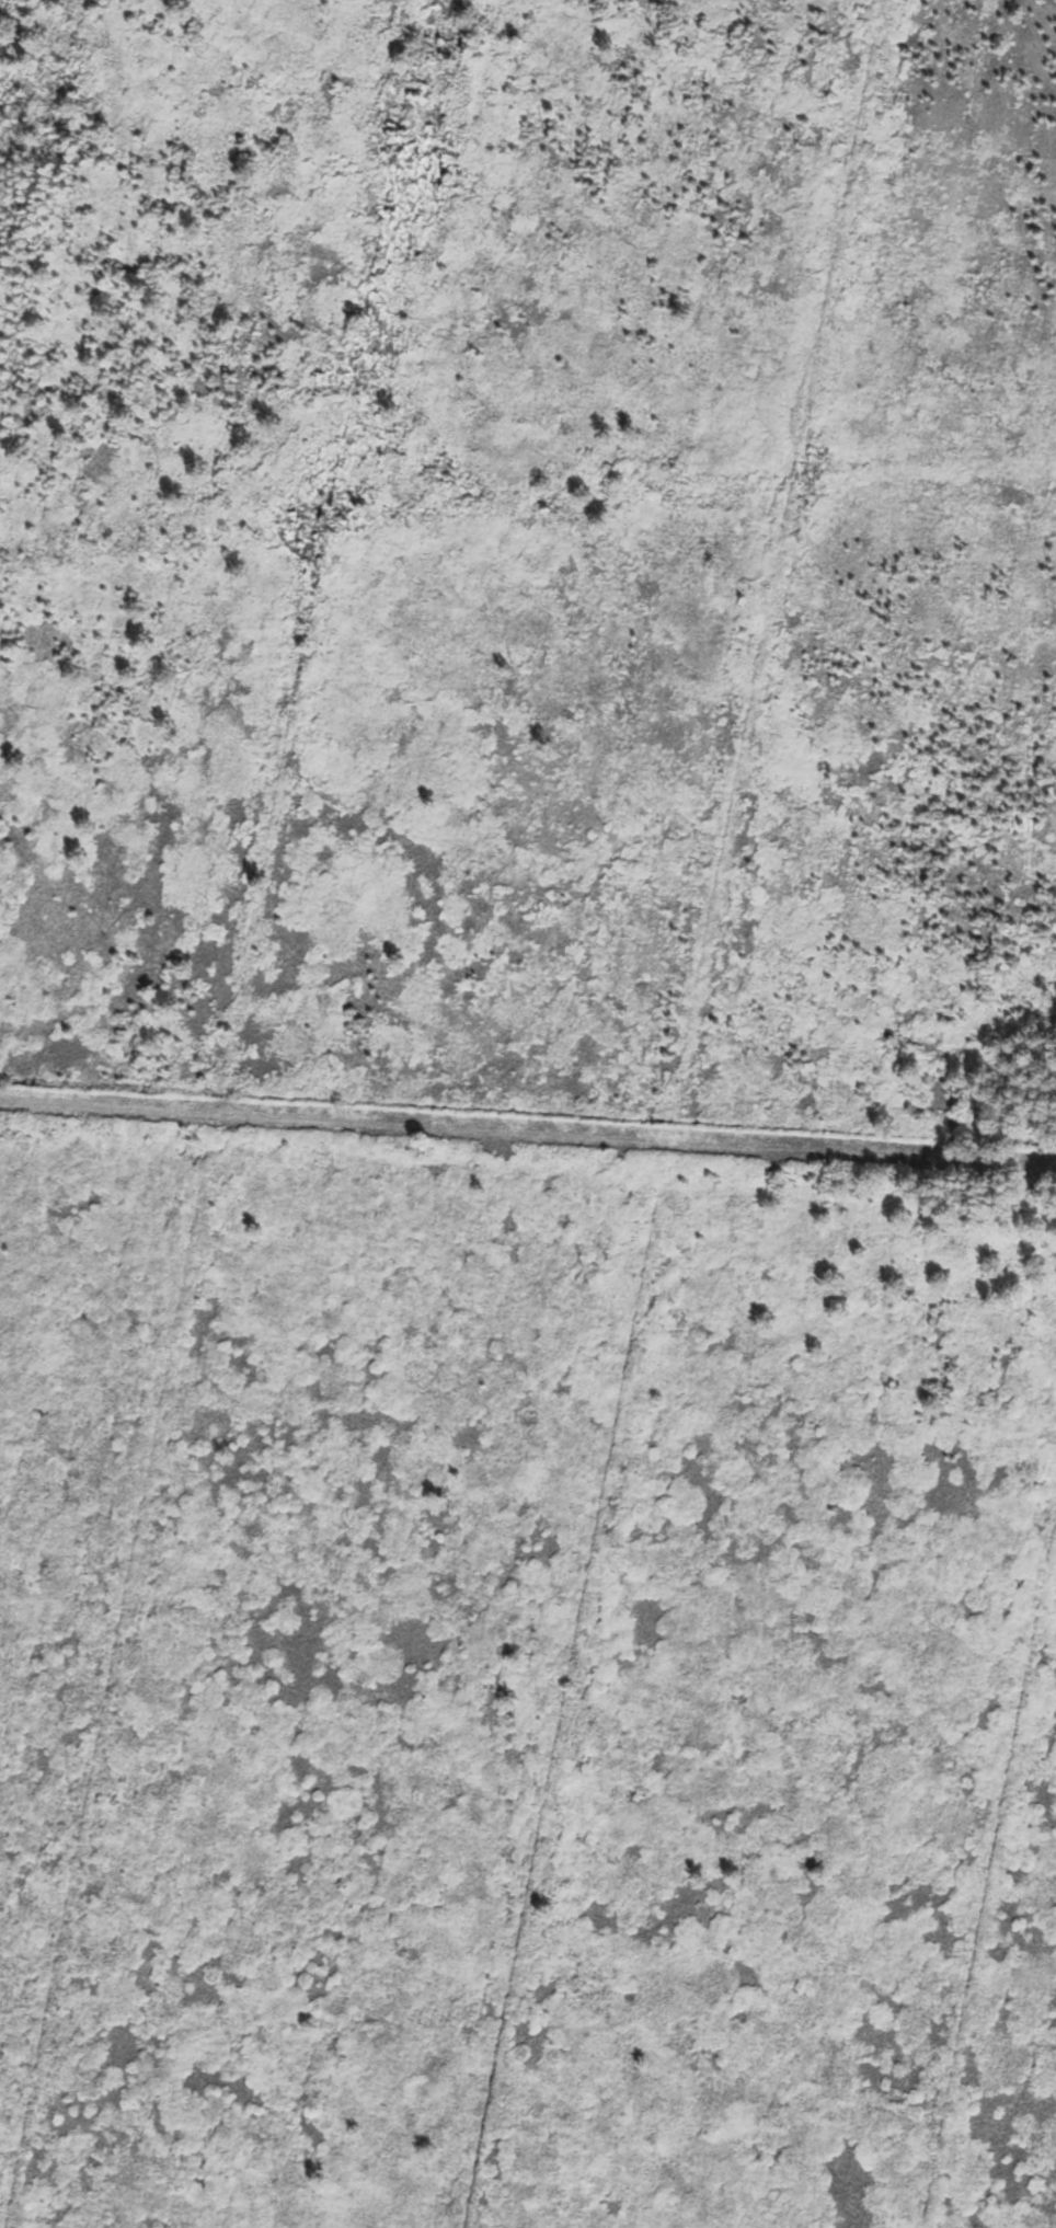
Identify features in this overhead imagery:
road: (528, 1127)

